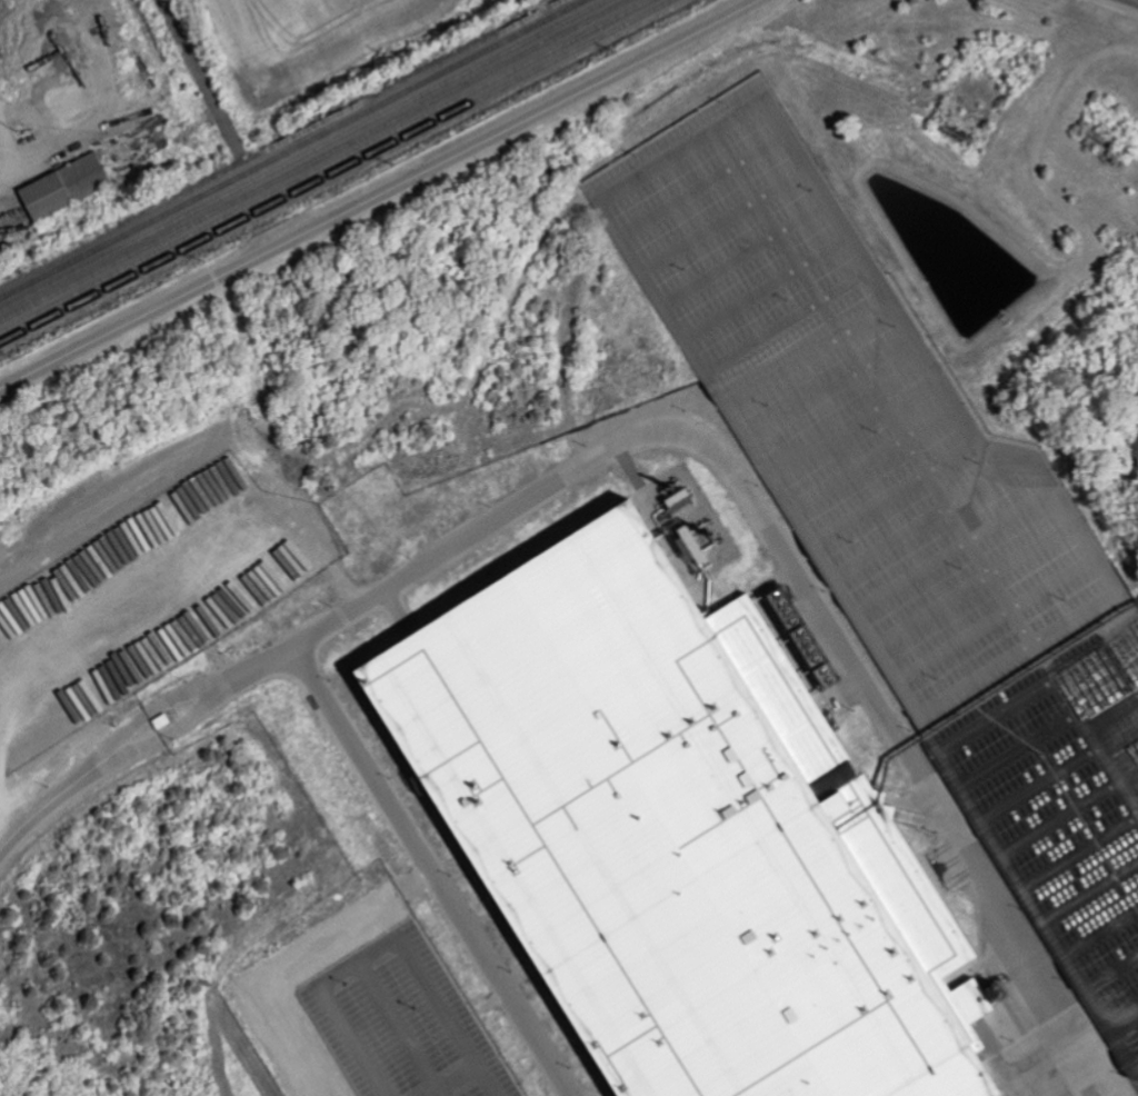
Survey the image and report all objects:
road: (1135, 0)
railway: (820, 12)
railway: (1109, 17)
crop: (310, 34)
railway: (292, 149)
railway: (307, 156)
railway: (316, 161)
railway: (326, 166)
railway: (337, 171)
building: (69, 187)
road: (380, 196)
building: (675, 496)
building: (685, 544)
road: (328, 621)
building: (677, 833)
building: (291, 1047)

